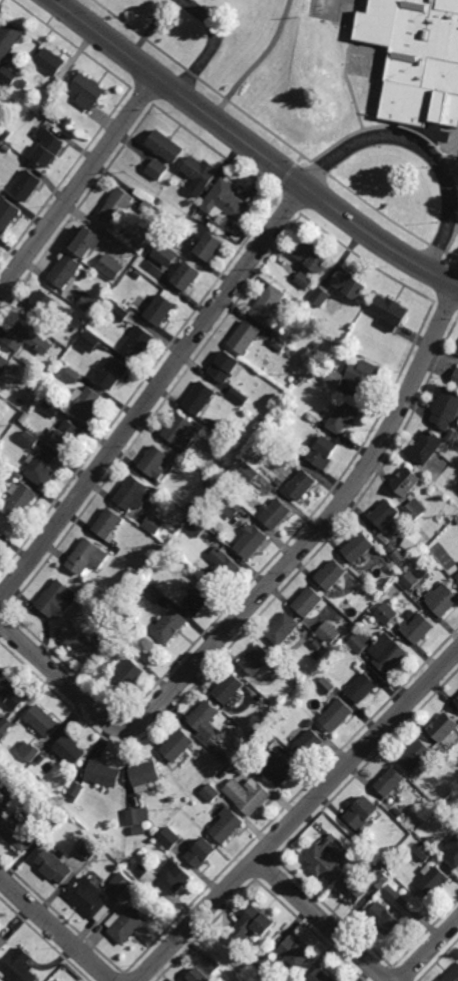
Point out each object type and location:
building: (9, 37)
road: (212, 44)
building: (427, 53)
building: (53, 60)
road: (258, 63)
park: (271, 66)
building: (9, 74)
building: (25, 82)
building: (89, 90)
building: (68, 122)
building: (7, 132)
building: (168, 144)
building: (50, 145)
road: (251, 147)
road: (422, 147)
building: (25, 161)
building: (159, 168)
building: (200, 173)
road: (78, 183)
building: (29, 184)
building: (230, 199)
building: (162, 200)
building: (118, 205)
building: (150, 207)
building: (9, 214)
building: (176, 237)
building: (88, 240)
building: (139, 244)
building: (213, 245)
building: (165, 255)
building: (312, 255)
building: (112, 266)
building: (67, 270)
building: (139, 274)
building: (190, 275)
building: (305, 279)
building: (349, 283)
building: (321, 297)
building: (91, 303)
building: (272, 303)
building: (44, 304)
building: (164, 309)
building: (390, 311)
building: (123, 313)
building: (248, 337)
building: (29, 338)
building: (92, 341)
building: (140, 342)
building: (281, 346)
building: (312, 360)
building: (5, 364)
building: (228, 367)
building: (115, 372)
building: (76, 375)
building: (356, 375)
building: (456, 379)
building: (299, 381)
road: (153, 393)
building: (239, 396)
building: (202, 398)
building: (285, 401)
building: (23, 402)
building: (88, 404)
building: (57, 406)
building: (447, 409)
building: (285, 410)
building: (344, 417)
building: (267, 426)
building: (224, 431)
building: (183, 432)
building: (453, 435)
building: (70, 437)
building: (32, 439)
building: (428, 447)
building: (323, 452)
building: (233, 454)
building: (158, 463)
building: (43, 467)
building: (249, 473)
building: (21, 476)
building: (407, 481)
building: (302, 484)
building: (213, 486)
building: (135, 495)
building: (22, 499)
building: (235, 506)
building: (194, 509)
building: (416, 509)
building: (1, 510)
building: (277, 514)
building: (386, 514)
building: (457, 520)
building: (157, 524)
building: (110, 525)
building: (199, 528)
building: (1, 542)
building: (253, 542)
building: (359, 548)
building: (400, 556)
building: (89, 558)
building: (224, 567)
building: (394, 569)
building: (457, 574)
building: (331, 575)
building: (135, 576)
building: (457, 577)
building: (411, 580)
road: (262, 592)
building: (156, 595)
building: (442, 599)
building: (59, 600)
building: (199, 601)
building: (309, 602)
building: (359, 604)
building: (386, 613)
building: (138, 628)
building: (172, 628)
building: (417, 629)
building: (285, 630)
building: (328, 633)
building: (318, 645)
building: (85, 647)
building: (380, 650)
building: (258, 661)
building: (129, 673)
building: (2, 674)
building: (326, 686)
building: (361, 688)
building: (231, 690)
building: (13, 696)
building: (267, 701)
building: (457, 702)
building: (336, 715)
building: (44, 721)
building: (206, 721)
building: (6, 722)
building: (310, 723)
building: (443, 728)
building: (269, 738)
building: (179, 743)
building: (308, 743)
building: (71, 748)
building: (30, 749)
building: (416, 753)
building: (224, 754)
building: (230, 761)
building: (279, 768)
building: (104, 771)
building: (147, 774)
building: (390, 781)
building: (76, 789)
building: (211, 792)
building: (249, 794)
building: (0, 805)
building: (0, 807)
building: (362, 811)
building: (396, 812)
building: (54, 814)
road: (298, 816)
building: (139, 818)
building: (228, 823)
building: (19, 832)
building: (171, 836)
building: (430, 840)
building: (415, 842)
building: (368, 843)
building: (89, 846)
building: (203, 850)
building: (452, 850)
building: (425, 852)
building: (327, 857)
building: (56, 863)
building: (149, 874)
building: (176, 875)
building: (432, 878)
building: (124, 880)
building: (363, 882)
building: (392, 893)
building: (132, 894)
building: (91, 896)
building: (383, 917)
building: (127, 922)
road: (322, 922)
building: (253, 924)
building: (0, 925)
building: (0, 926)
road: (55, 929)
building: (2, 941)
building: (294, 952)
road: (430, 952)
building: (263, 963)
building: (213, 964)
building: (19, 966)
building: (198, 975)
building: (451, 975)
building: (321, 976)
building: (57, 979)

